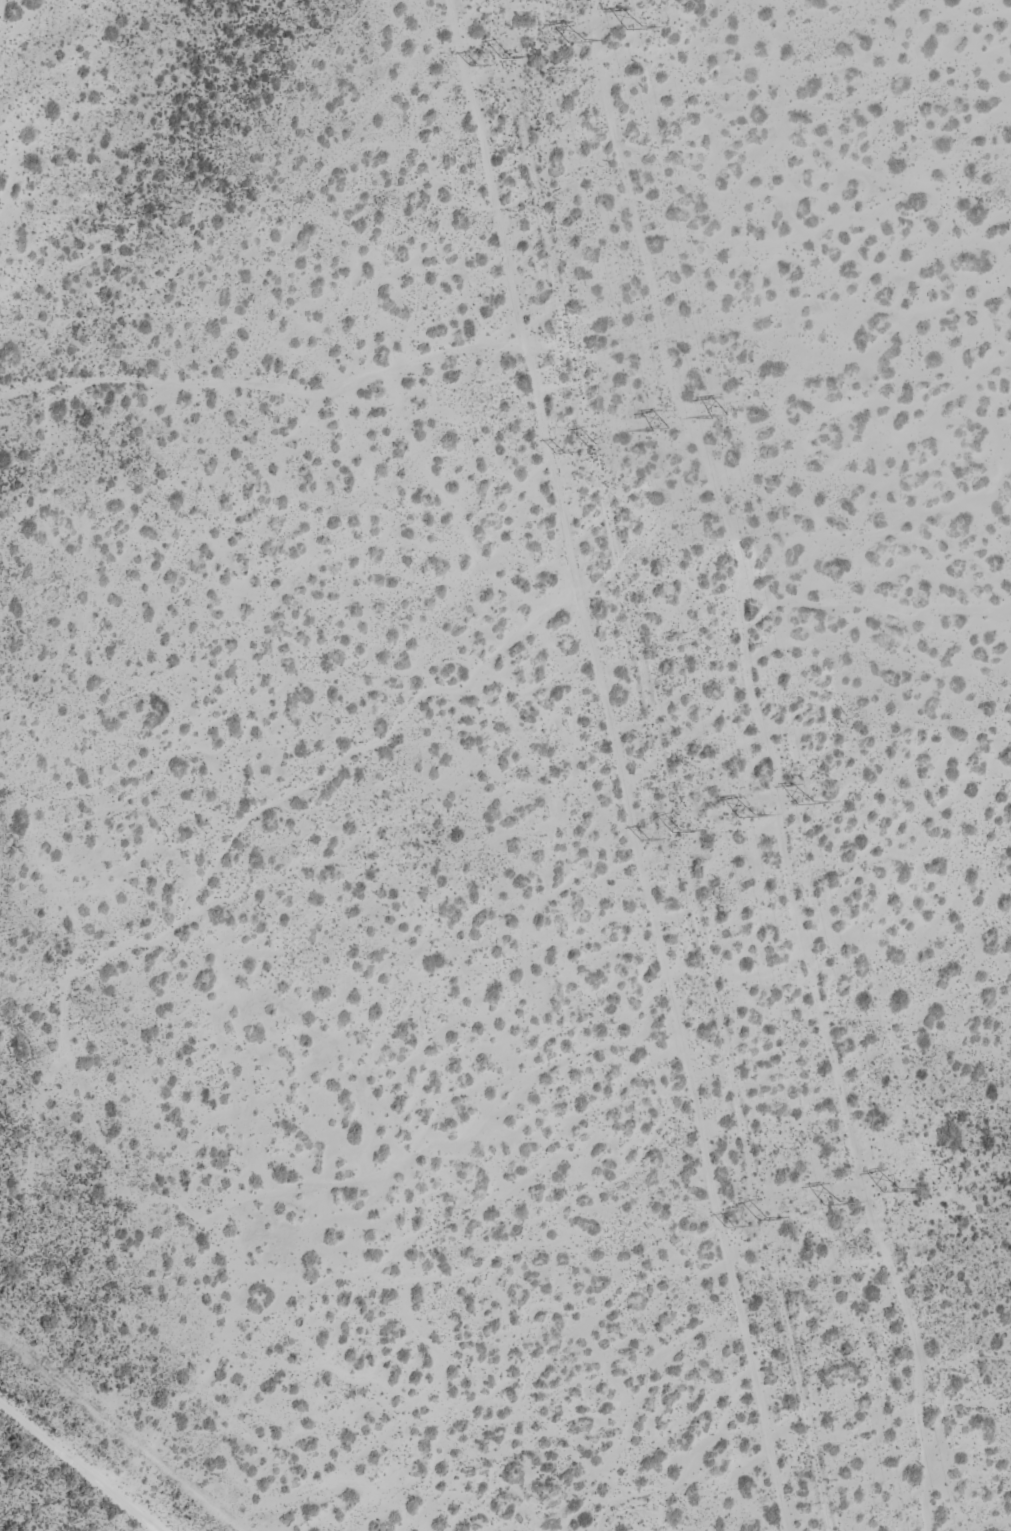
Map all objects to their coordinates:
power tower: (633, 23)
power tower: (573, 36)
power tower: (720, 415)
power tower: (659, 426)
power tower: (803, 799)
power tower: (744, 811)
power tower: (889, 1188)
power tower: (830, 1201)

